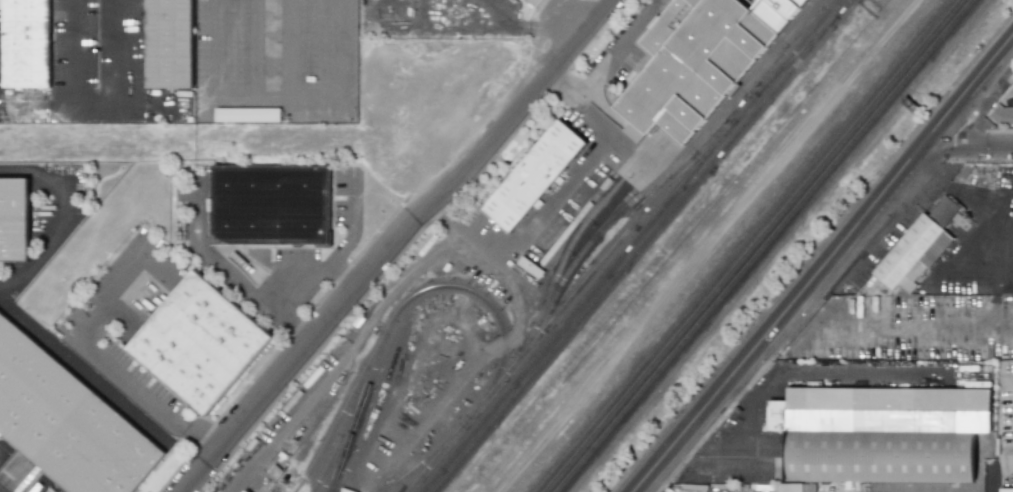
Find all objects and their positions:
building: (537, 2)
road: (526, 27)
building: (28, 43)
building: (170, 43)
road: (257, 49)
road: (295, 49)
railway: (795, 54)
building: (697, 58)
parking lot: (99, 61)
road: (605, 62)
railway: (716, 63)
parking lot: (2, 66)
railway: (731, 68)
road: (279, 99)
road: (99, 107)
building: (248, 114)
building: (1002, 115)
railway: (711, 123)
road: (971, 144)
road: (922, 164)
building: (532, 175)
parking lot: (349, 196)
road: (972, 197)
parking lot: (193, 204)
building: (272, 204)
road: (539, 210)
building: (946, 211)
road: (52, 213)
railway: (586, 216)
building: (13, 219)
road: (890, 225)
road: (354, 235)
road: (393, 240)
railway: (626, 245)
railway: (638, 245)
road: (713, 245)
railway: (764, 245)
railway: (581, 246)
railway: (753, 246)
road: (333, 249)
building: (909, 251)
building: (928, 260)
road: (824, 263)
road: (968, 270)
road: (998, 270)
road: (223, 271)
road: (310, 290)
railway: (408, 295)
railway: (563, 300)
road: (921, 330)
building: (201, 342)
road: (87, 345)
road: (84, 374)
railway: (342, 405)
building: (890, 409)
railway: (373, 410)
building: (778, 415)
building: (68, 421)
railway: (341, 427)
road: (200, 439)
building: (881, 456)
railway: (422, 457)
railway: (325, 463)
building: (792, 487)
building: (811, 488)
building: (241, 490)
building: (346, 490)
building: (1007, 490)
building: (244, 491)

